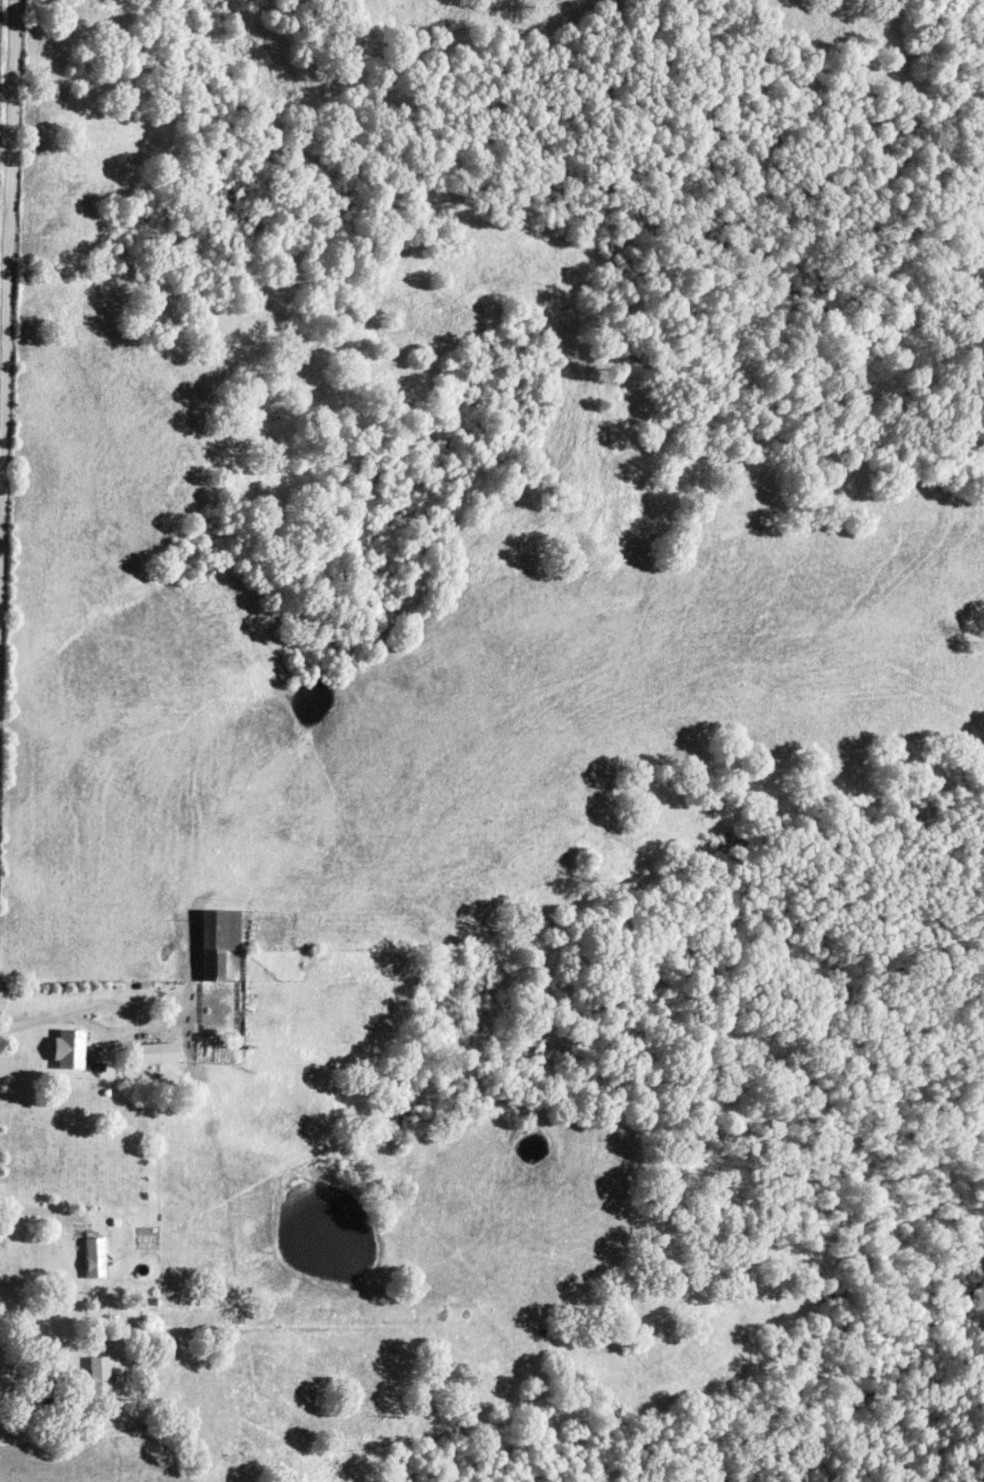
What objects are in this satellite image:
building: (219, 939)
road: (32, 1018)
road: (132, 1024)
building: (70, 1048)
building: (158, 1053)
building: (96, 1258)
building: (100, 1376)

